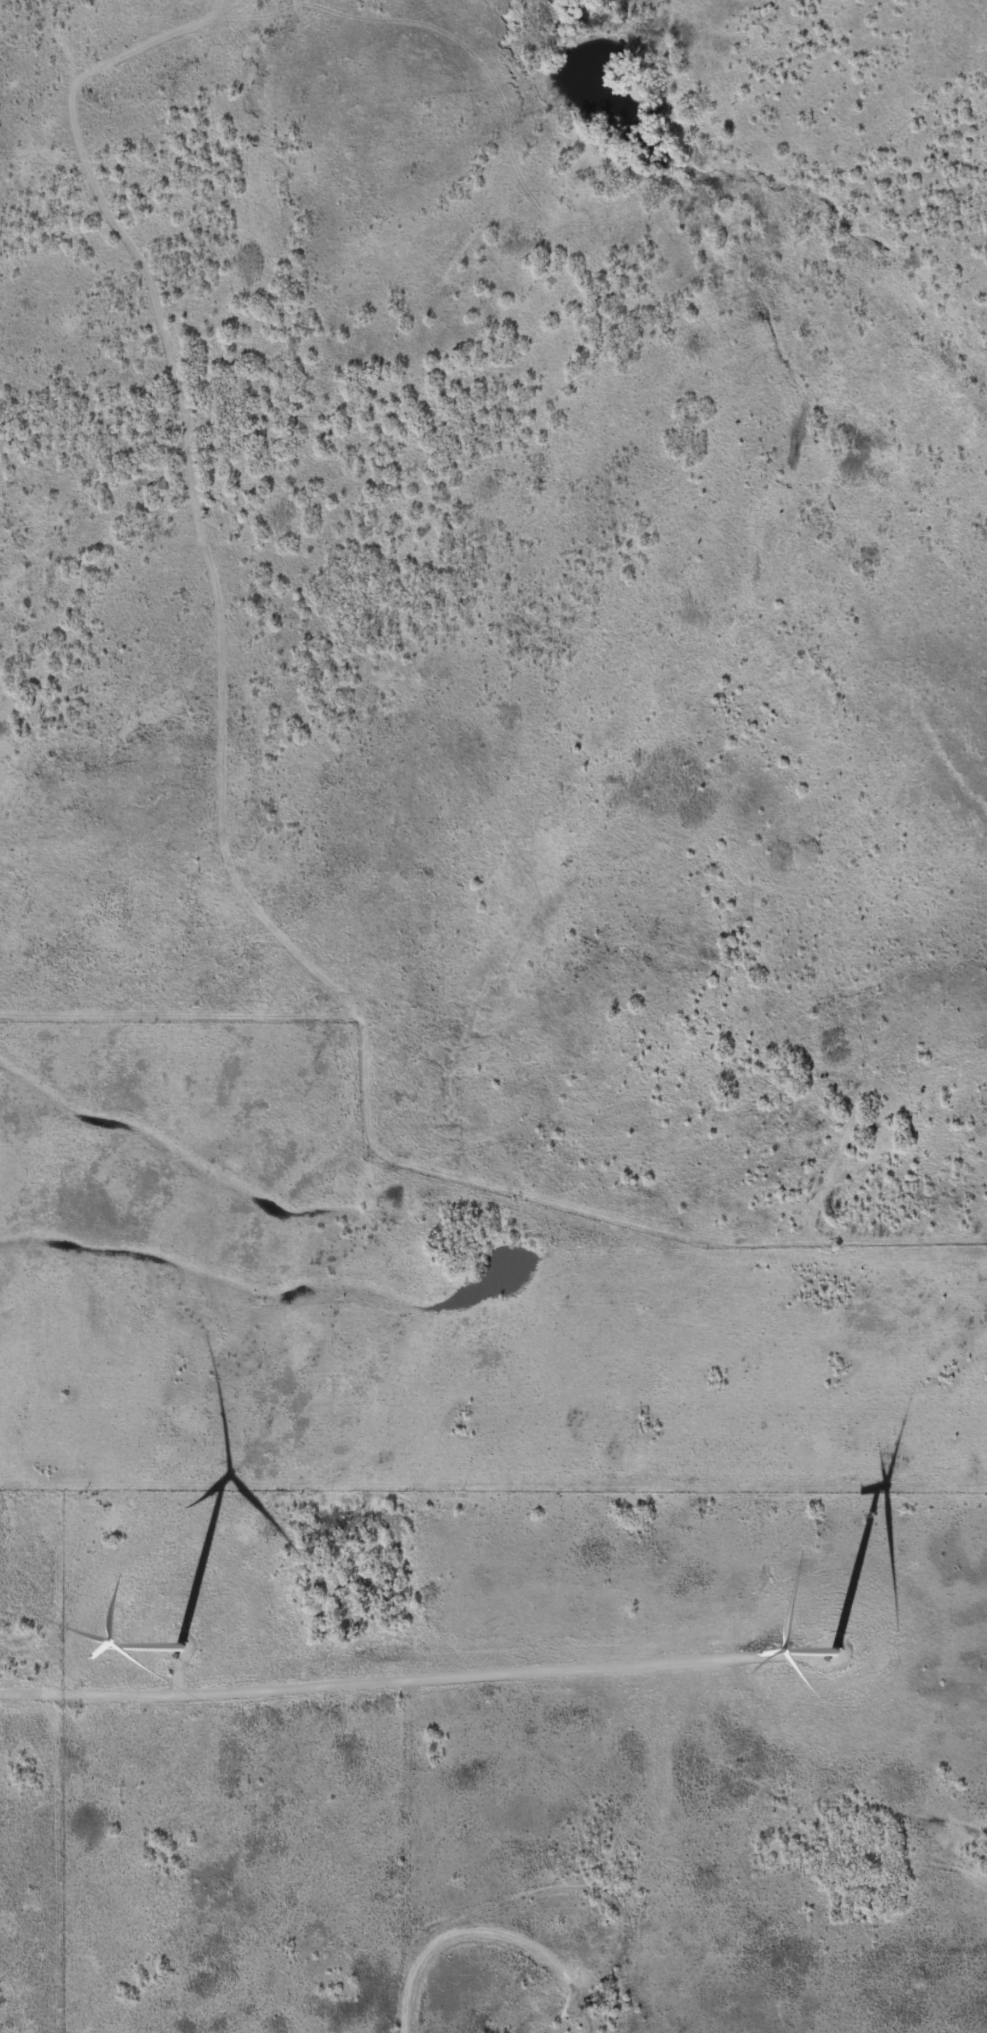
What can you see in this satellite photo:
road: (927, 1204)
road: (376, 1493)
wind turbine: (842, 1632)
wind turbine: (198, 1642)
road: (412, 1674)

